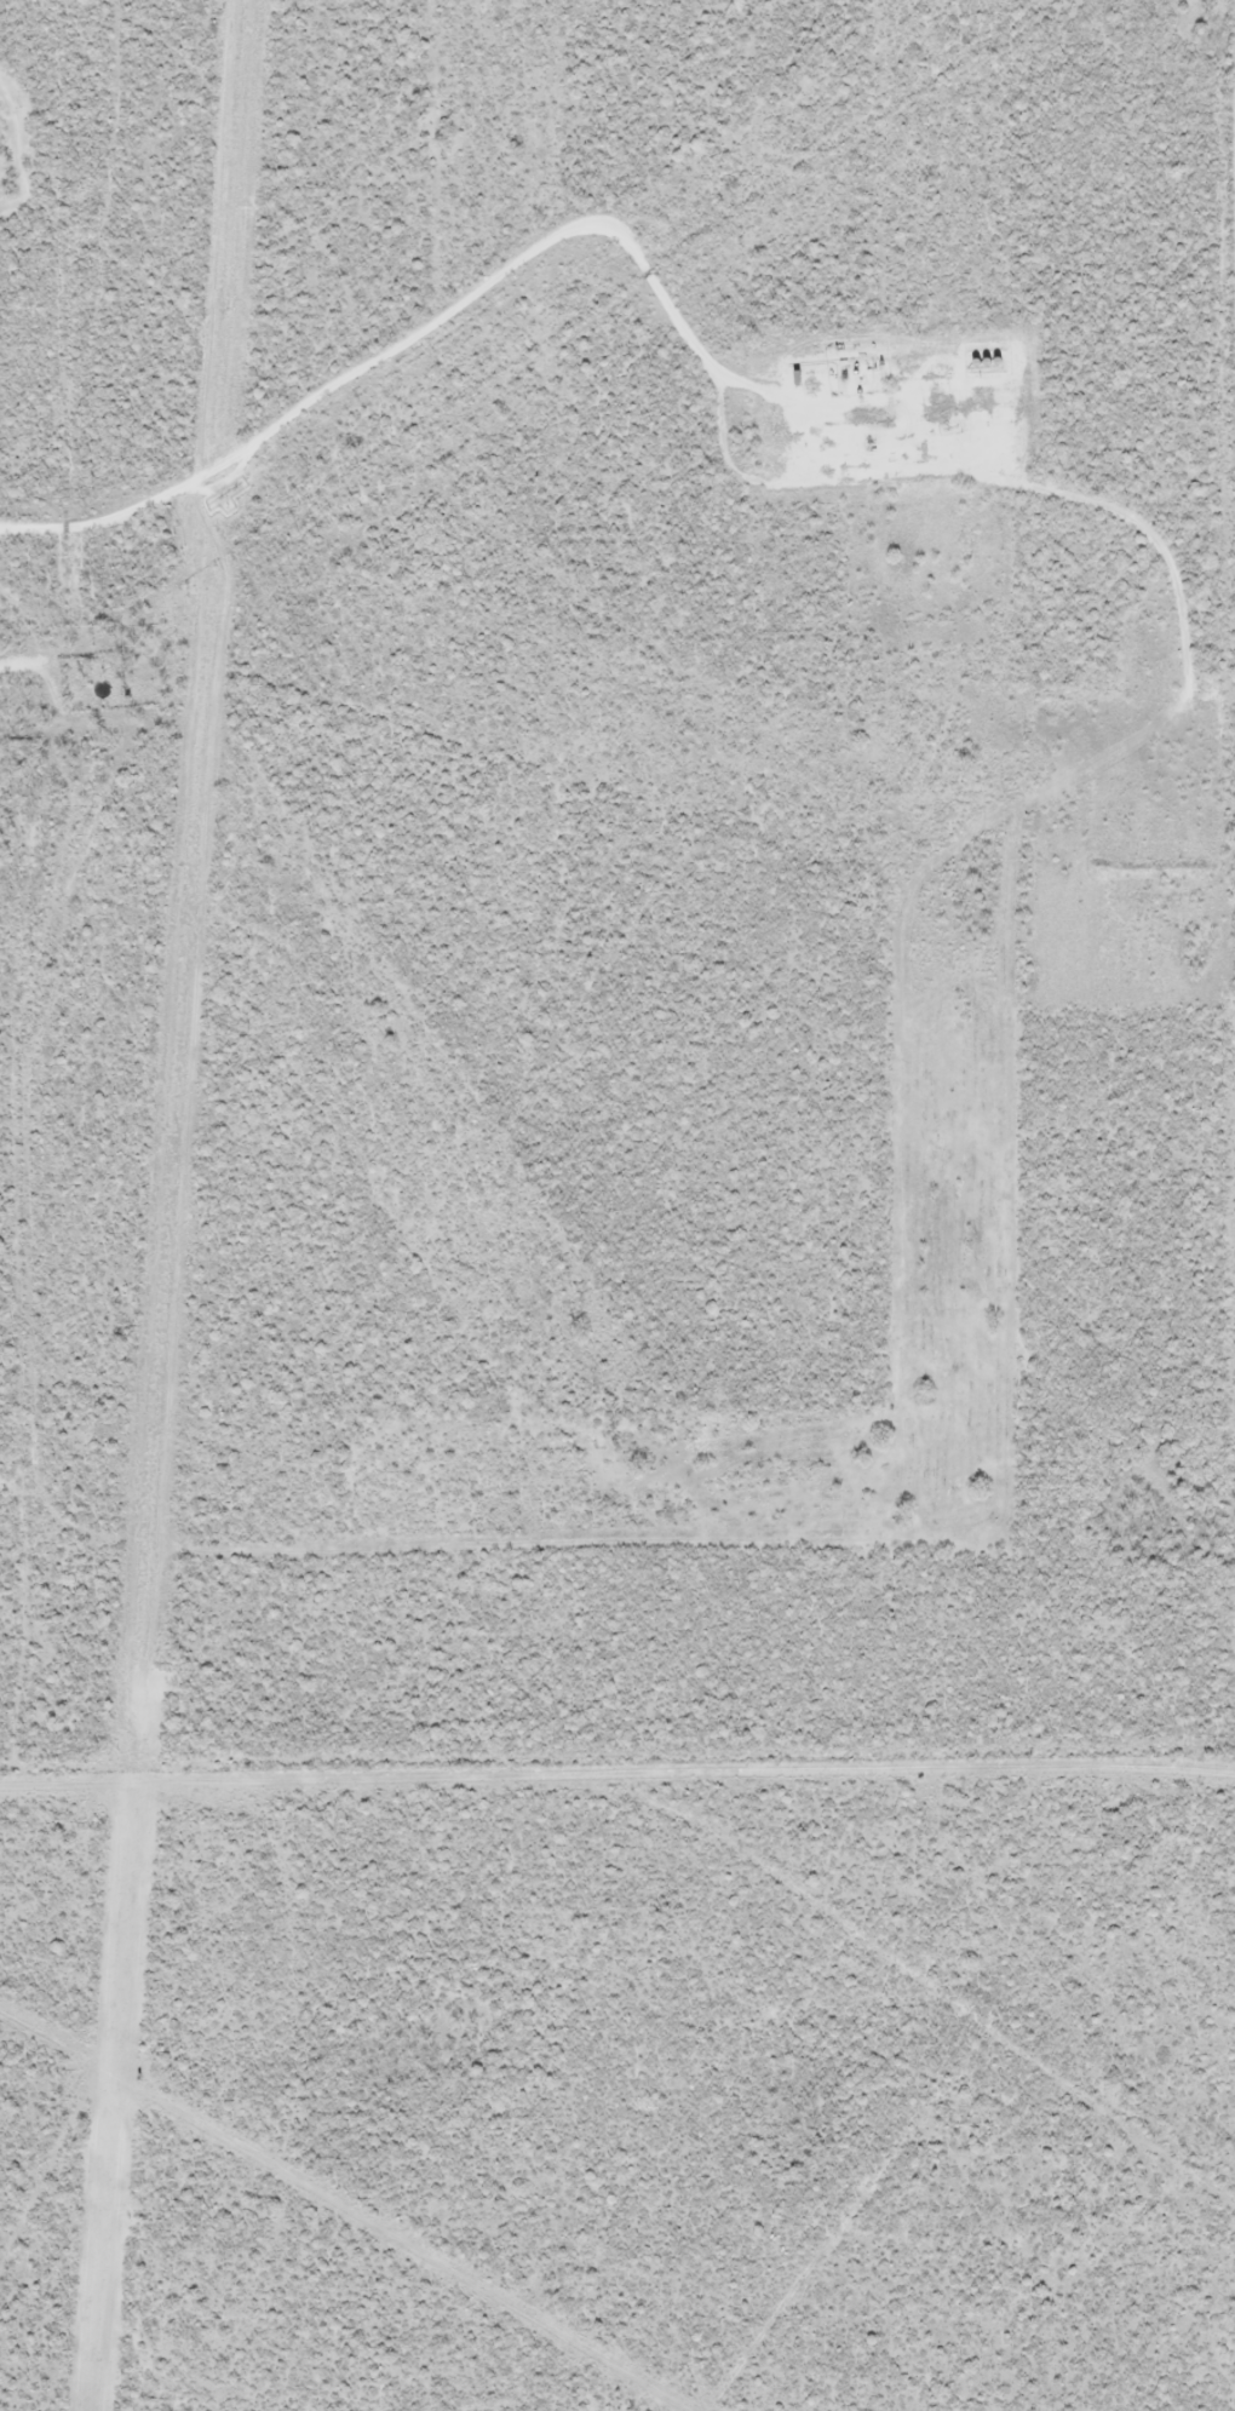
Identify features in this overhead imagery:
road: (52, 1242)

